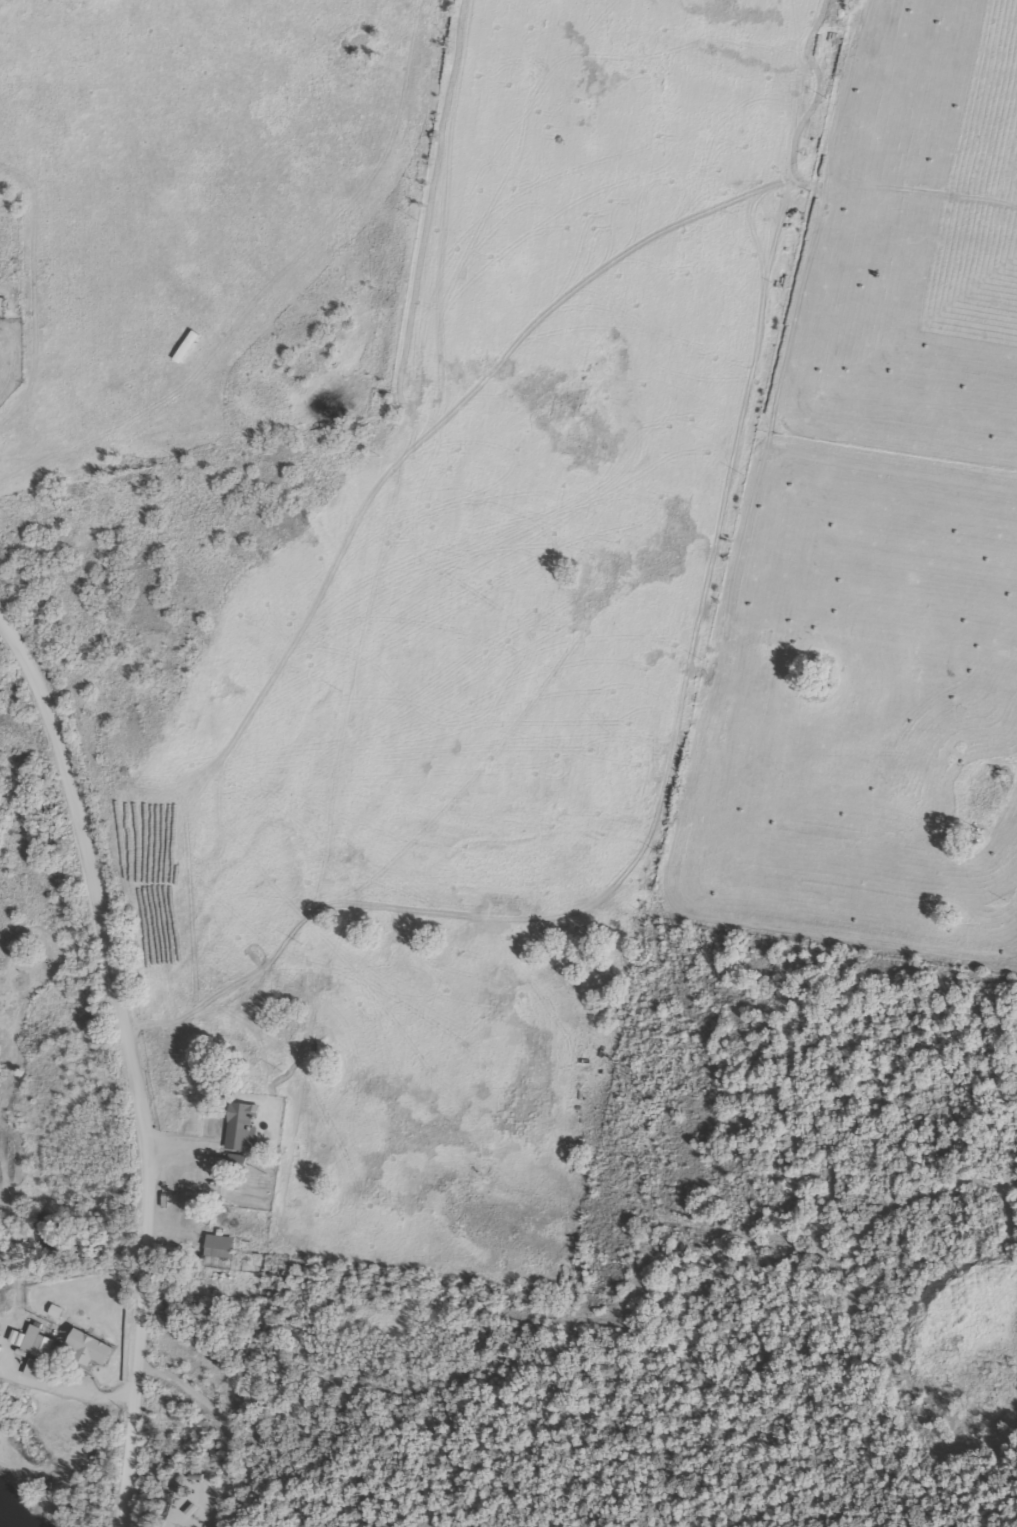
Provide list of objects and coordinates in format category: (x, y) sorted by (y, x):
road: (132, 1060)
building: (238, 1126)
building: (233, 1162)
building: (216, 1246)
building: (35, 1342)
building: (85, 1348)

